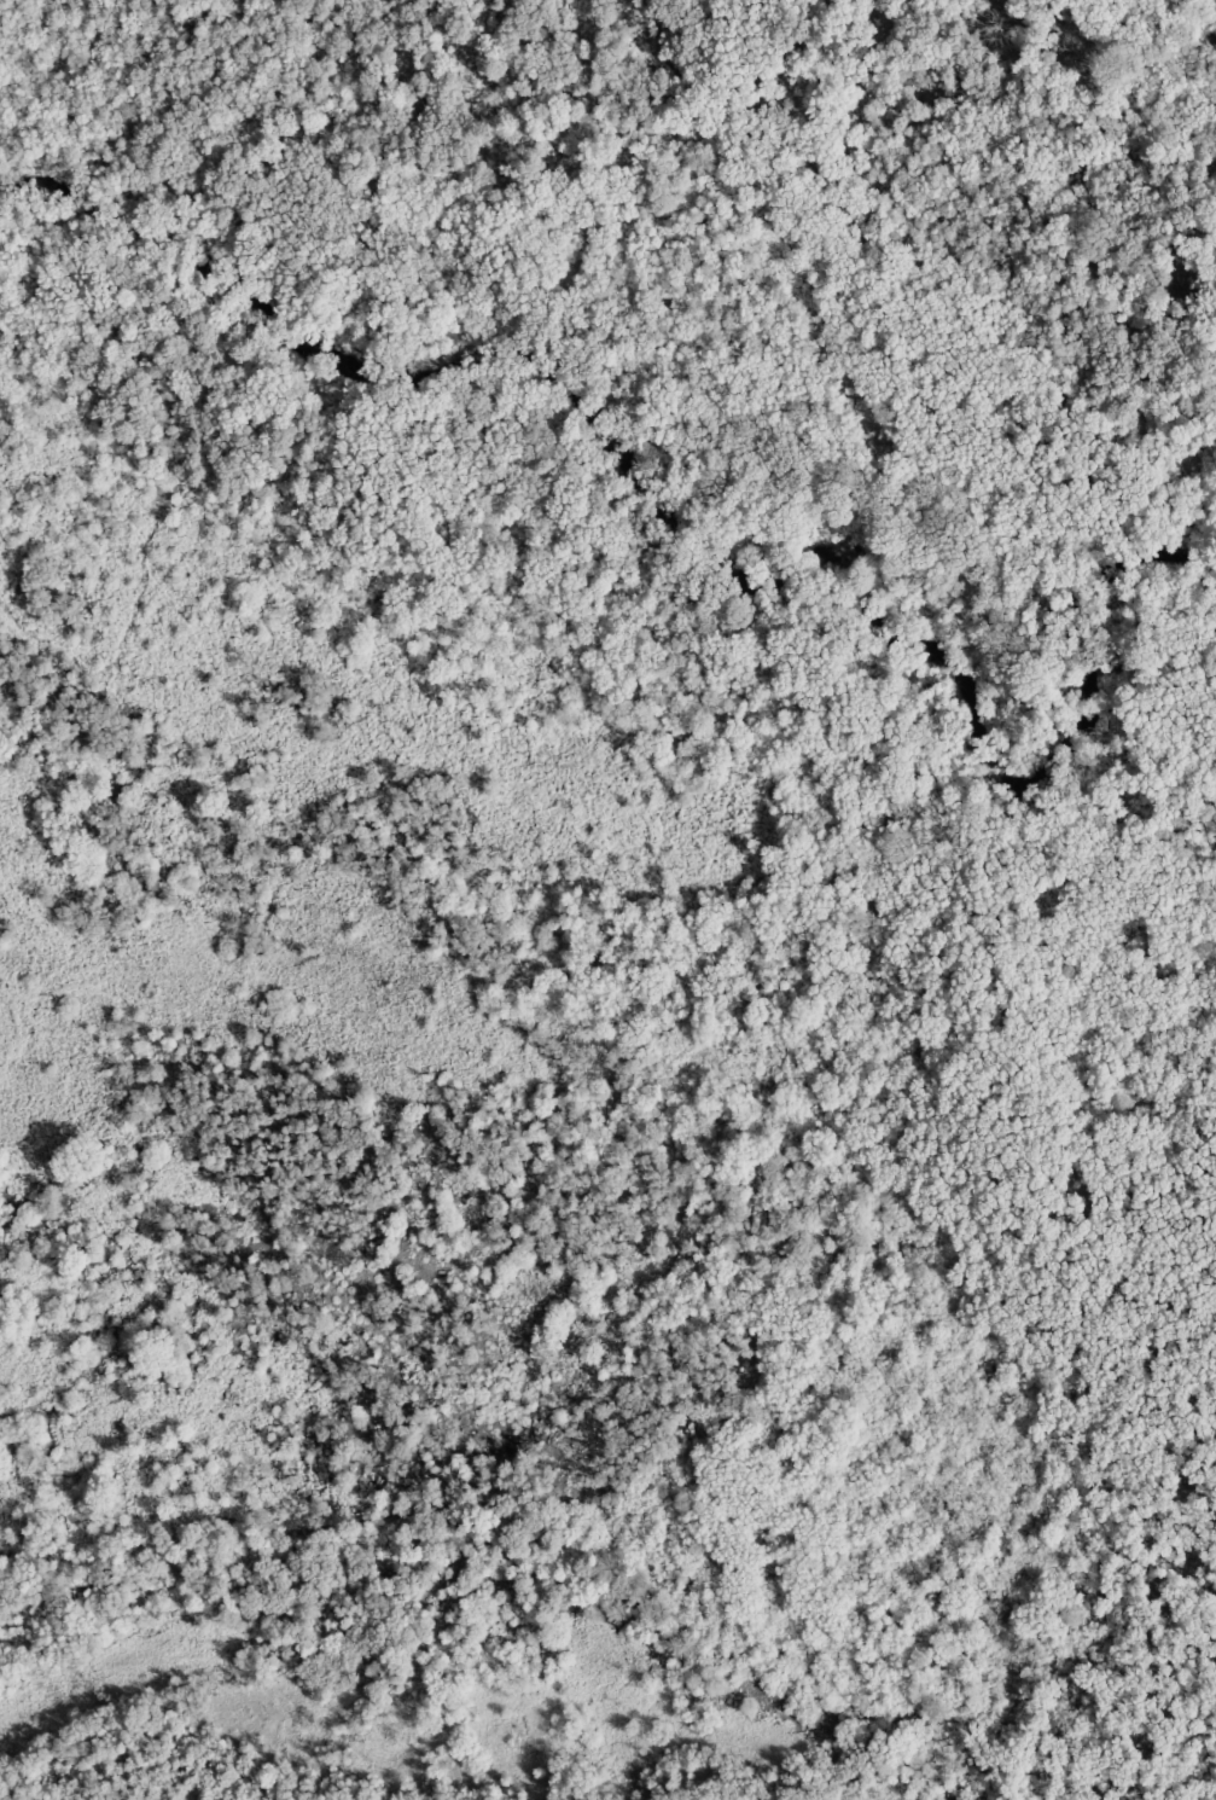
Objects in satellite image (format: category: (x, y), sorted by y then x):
road: (460, 280)

